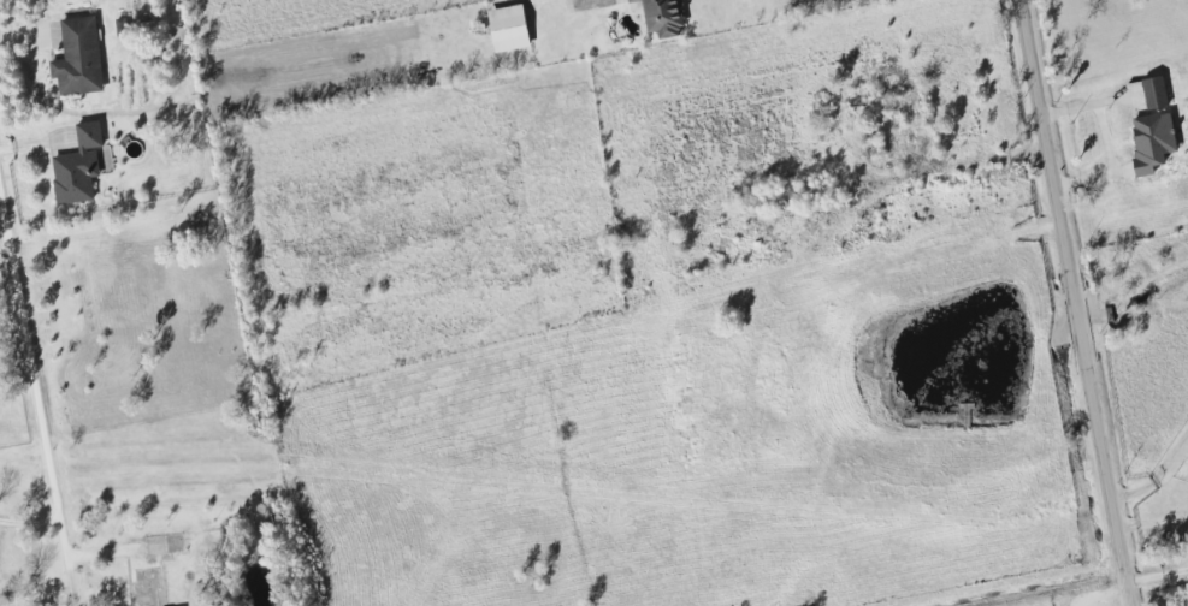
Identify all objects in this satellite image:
building: (662, 17)
building: (507, 29)
building: (77, 58)
building: (1153, 93)
building: (1151, 141)
road: (965, 164)
building: (76, 167)
road: (4, 248)
road: (1071, 303)
road: (32, 387)
road: (1156, 485)
building: (153, 570)
road: (1154, 576)

